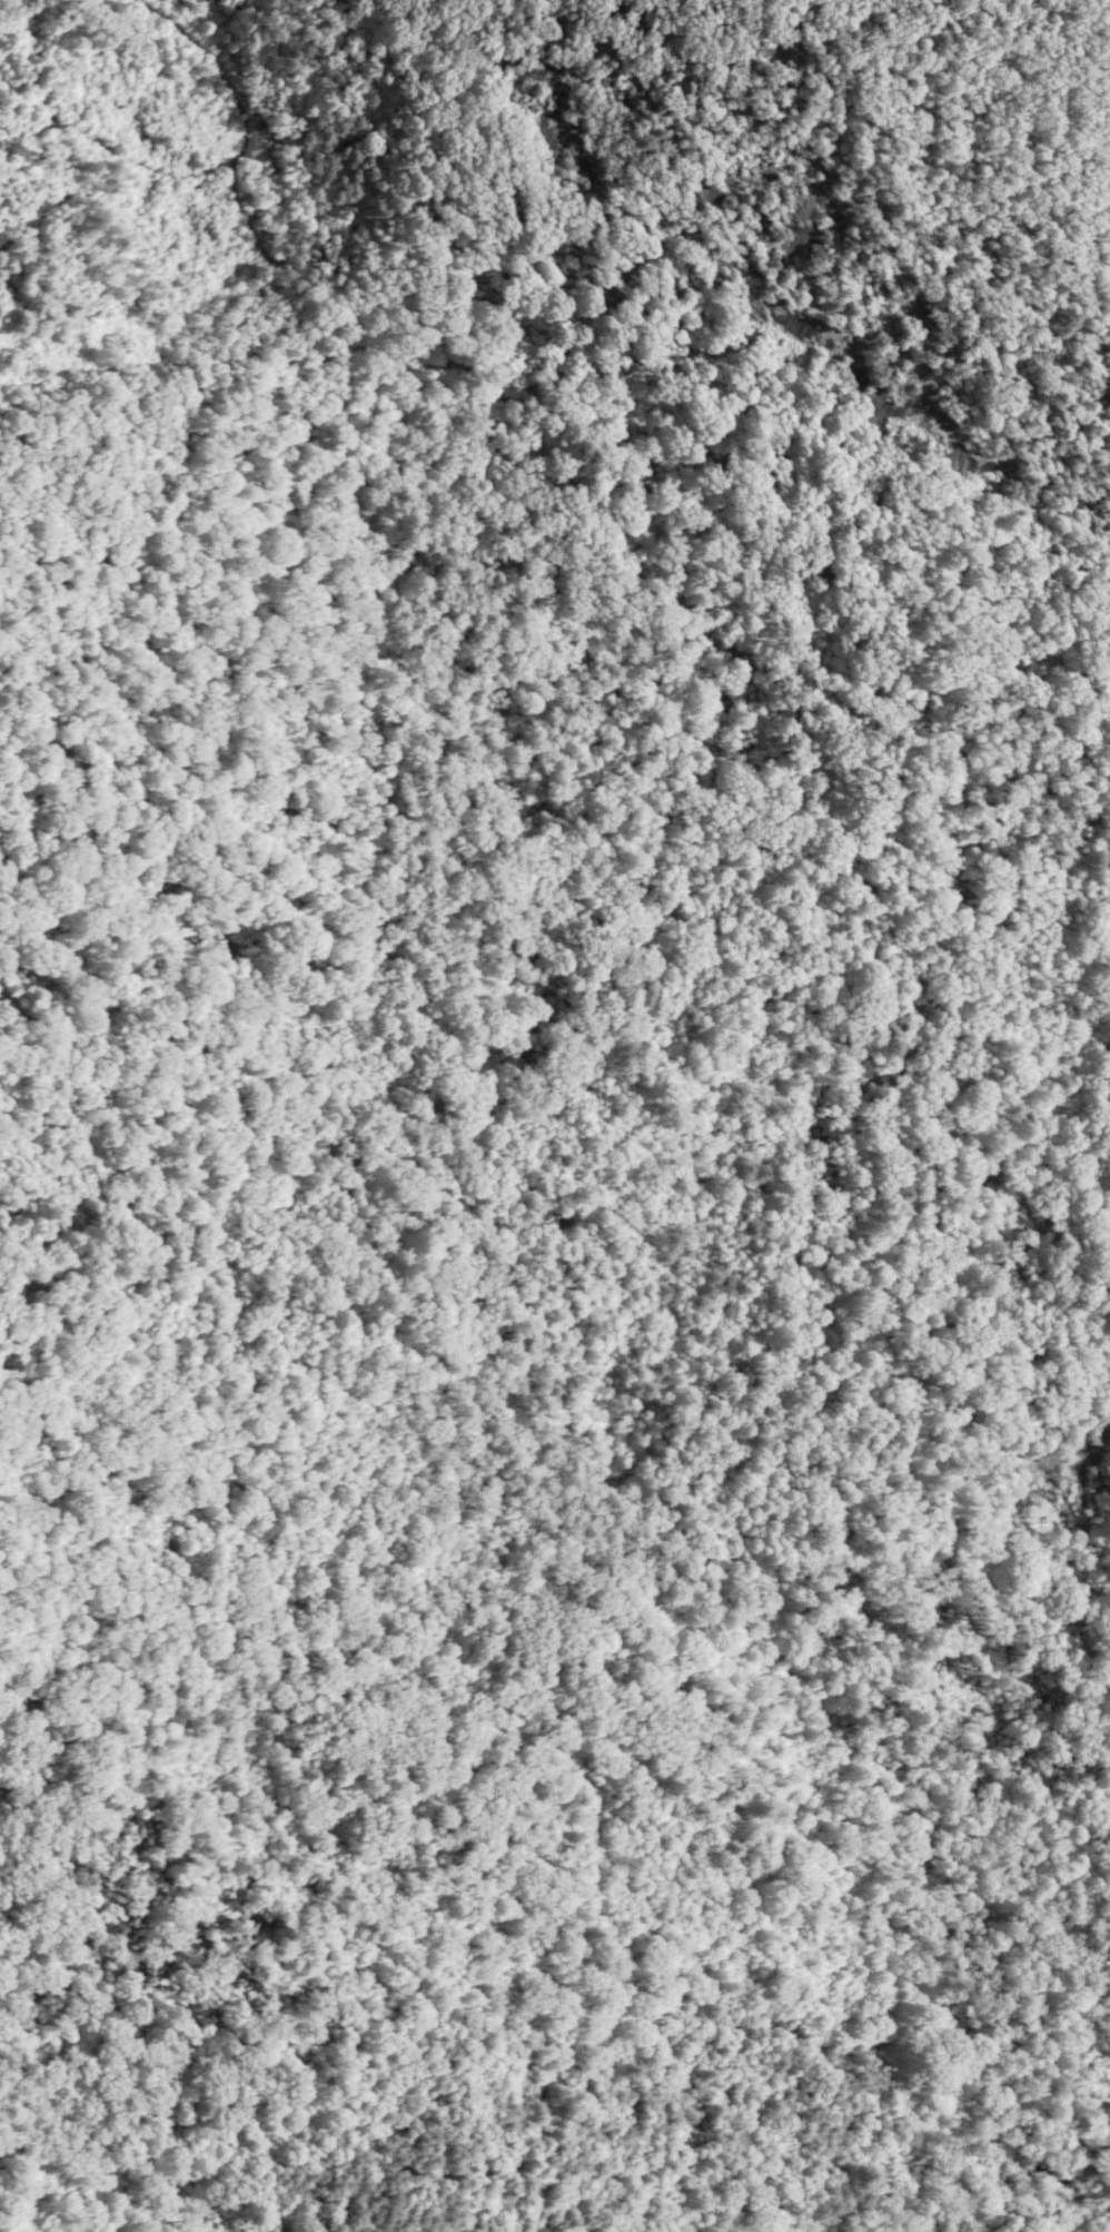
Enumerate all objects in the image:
river: (974, 2182)

